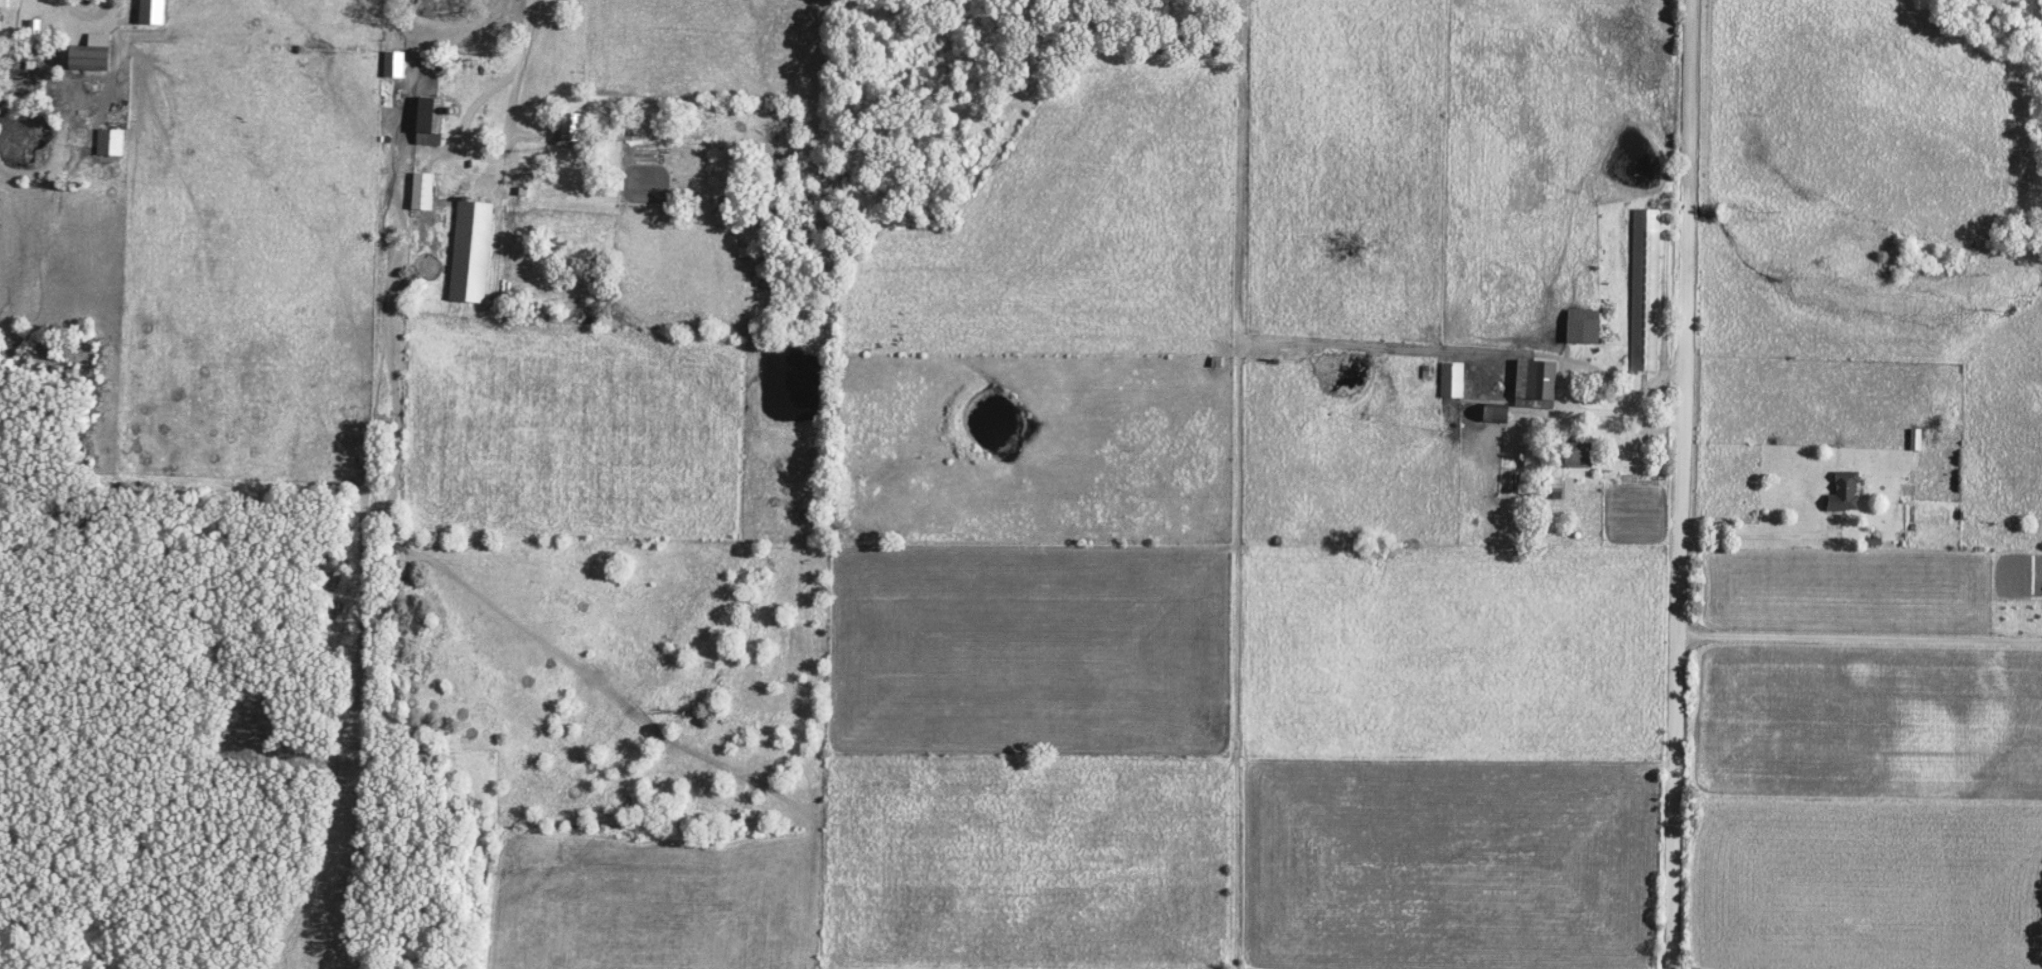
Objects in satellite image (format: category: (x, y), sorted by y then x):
building: (4, 4)
building: (149, 12)
road: (75, 16)
road: (436, 31)
road: (519, 40)
building: (84, 54)
building: (392, 65)
building: (425, 126)
road: (455, 132)
building: (108, 143)
building: (420, 193)
building: (468, 253)
building: (1644, 291)
building: (1579, 328)
building: (1450, 381)
building: (1543, 382)
building: (1522, 385)
road: (1654, 385)
road: (1562, 411)
building: (1913, 441)
road: (1675, 484)
building: (1561, 490)
building: (1841, 494)
road: (1760, 537)
road: (1857, 637)

